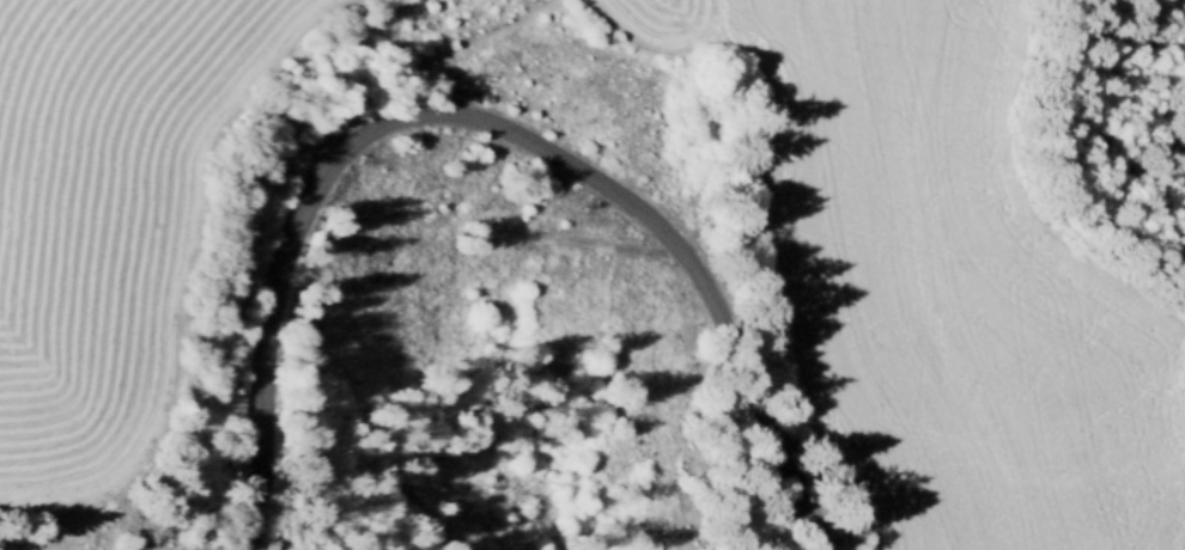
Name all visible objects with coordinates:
crop: (649, 20)
road: (485, 123)
crop: (105, 210)
crop: (942, 292)

